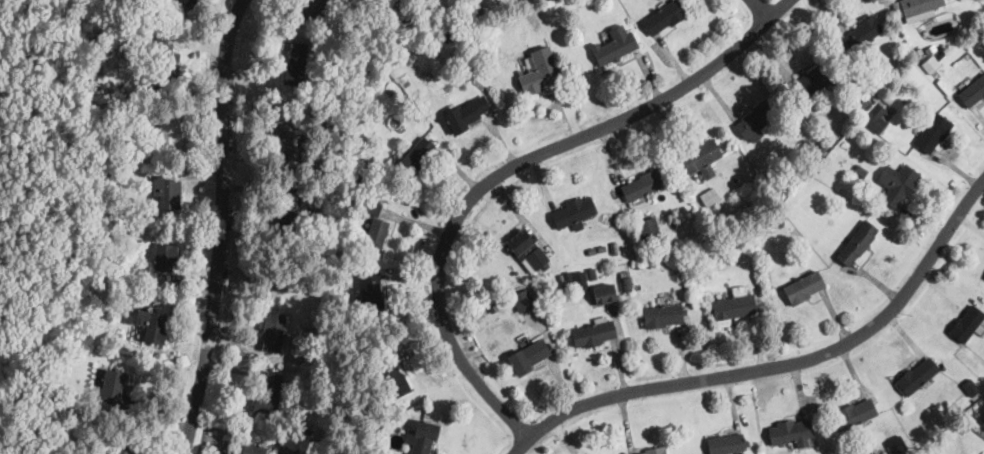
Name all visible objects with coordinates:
building: (187, 2)
building: (408, 6)
building: (310, 9)
road: (757, 9)
building: (920, 9)
building: (664, 17)
building: (863, 34)
building: (452, 35)
building: (615, 45)
building: (928, 50)
building: (917, 52)
building: (941, 52)
building: (956, 57)
building: (167, 63)
building: (930, 63)
building: (295, 65)
building: (539, 72)
building: (812, 83)
building: (878, 86)
building: (390, 91)
building: (972, 92)
building: (888, 99)
building: (863, 103)
building: (466, 114)
building: (417, 117)
building: (875, 118)
building: (756, 119)
building: (330, 124)
building: (168, 132)
building: (933, 132)
building: (288, 138)
building: (806, 146)
building: (821, 147)
building: (415, 158)
building: (702, 159)
building: (864, 162)
road: (514, 168)
building: (860, 170)
building: (91, 175)
building: (356, 177)
building: (771, 183)
building: (897, 184)
building: (642, 185)
building: (806, 187)
building: (166, 192)
building: (709, 197)
building: (290, 206)
building: (369, 206)
building: (573, 213)
building: (778, 220)
road: (220, 227)
building: (771, 227)
building: (649, 231)
building: (375, 233)
building: (856, 243)
building: (716, 246)
building: (601, 249)
building: (305, 251)
building: (528, 251)
building: (592, 251)
building: (582, 254)
building: (163, 259)
building: (637, 267)
building: (592, 274)
building: (563, 276)
building: (575, 283)
building: (626, 284)
building: (638, 284)
building: (803, 287)
building: (371, 294)
building: (523, 299)
building: (612, 300)
building: (733, 306)
building: (663, 316)
building: (966, 324)
building: (154, 328)
building: (272, 330)
building: (593, 332)
building: (71, 352)
building: (528, 357)
road: (778, 365)
building: (915, 376)
building: (391, 378)
building: (113, 386)
building: (970, 387)
building: (268, 393)
building: (854, 413)
building: (983, 419)
building: (308, 427)
building: (791, 433)
building: (424, 436)
building: (370, 443)
building: (726, 444)
building: (897, 445)
building: (252, 448)
building: (654, 450)
building: (122, 451)
building: (308, 452)

